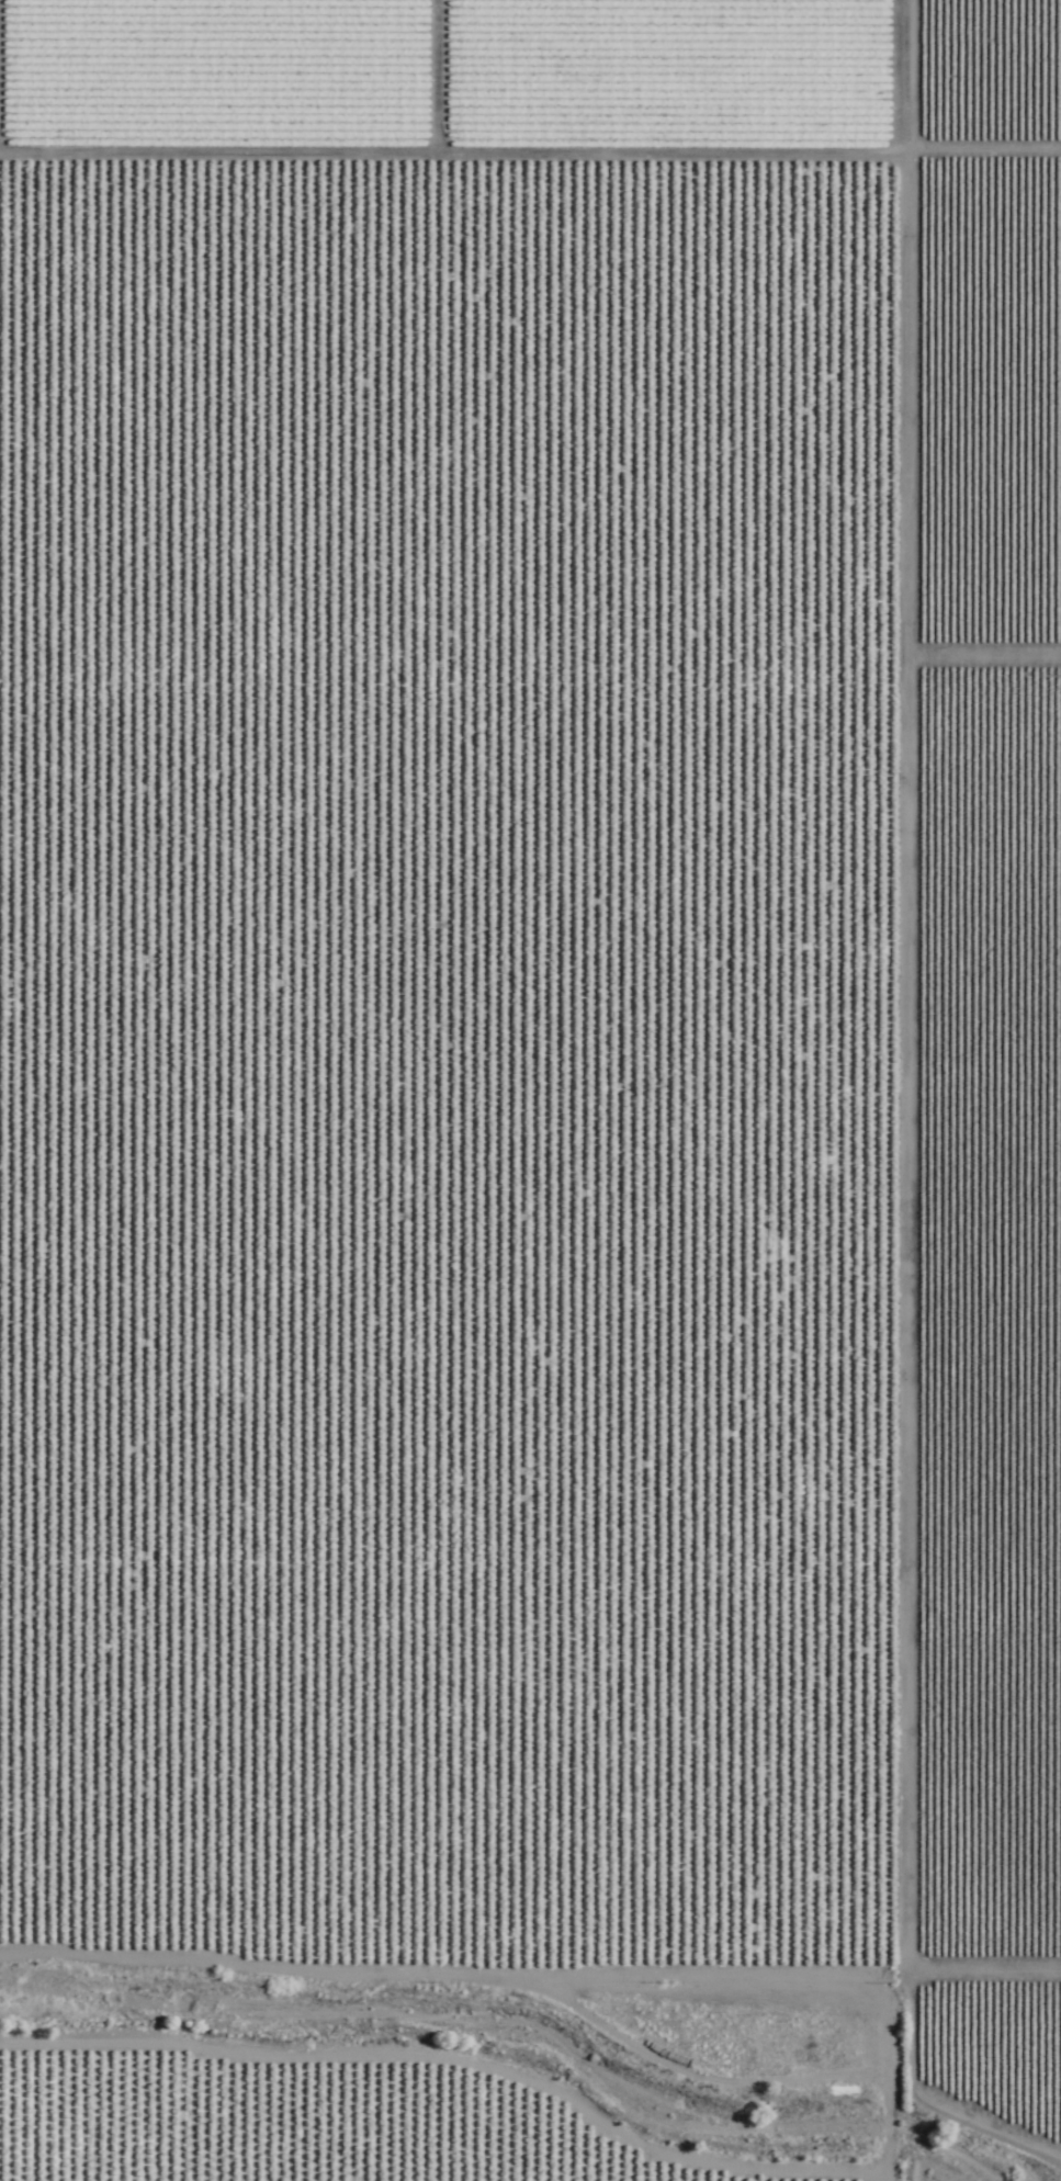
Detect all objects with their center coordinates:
road: (530, 171)
crop: (529, 1009)
road: (845, 1188)
road: (530, 1911)

